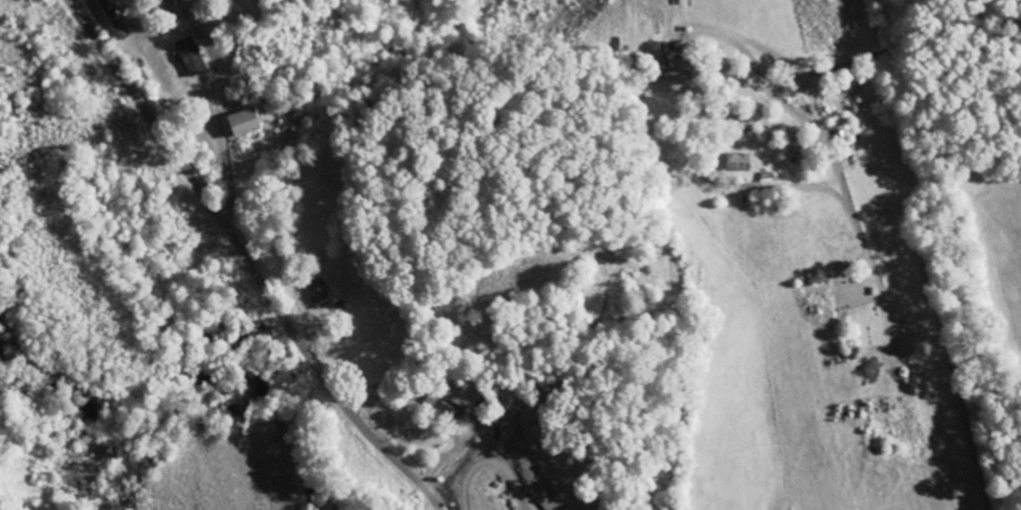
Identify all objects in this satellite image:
building: (191, 56)
building: (245, 123)
building: (740, 159)
road: (246, 260)
building: (318, 297)

